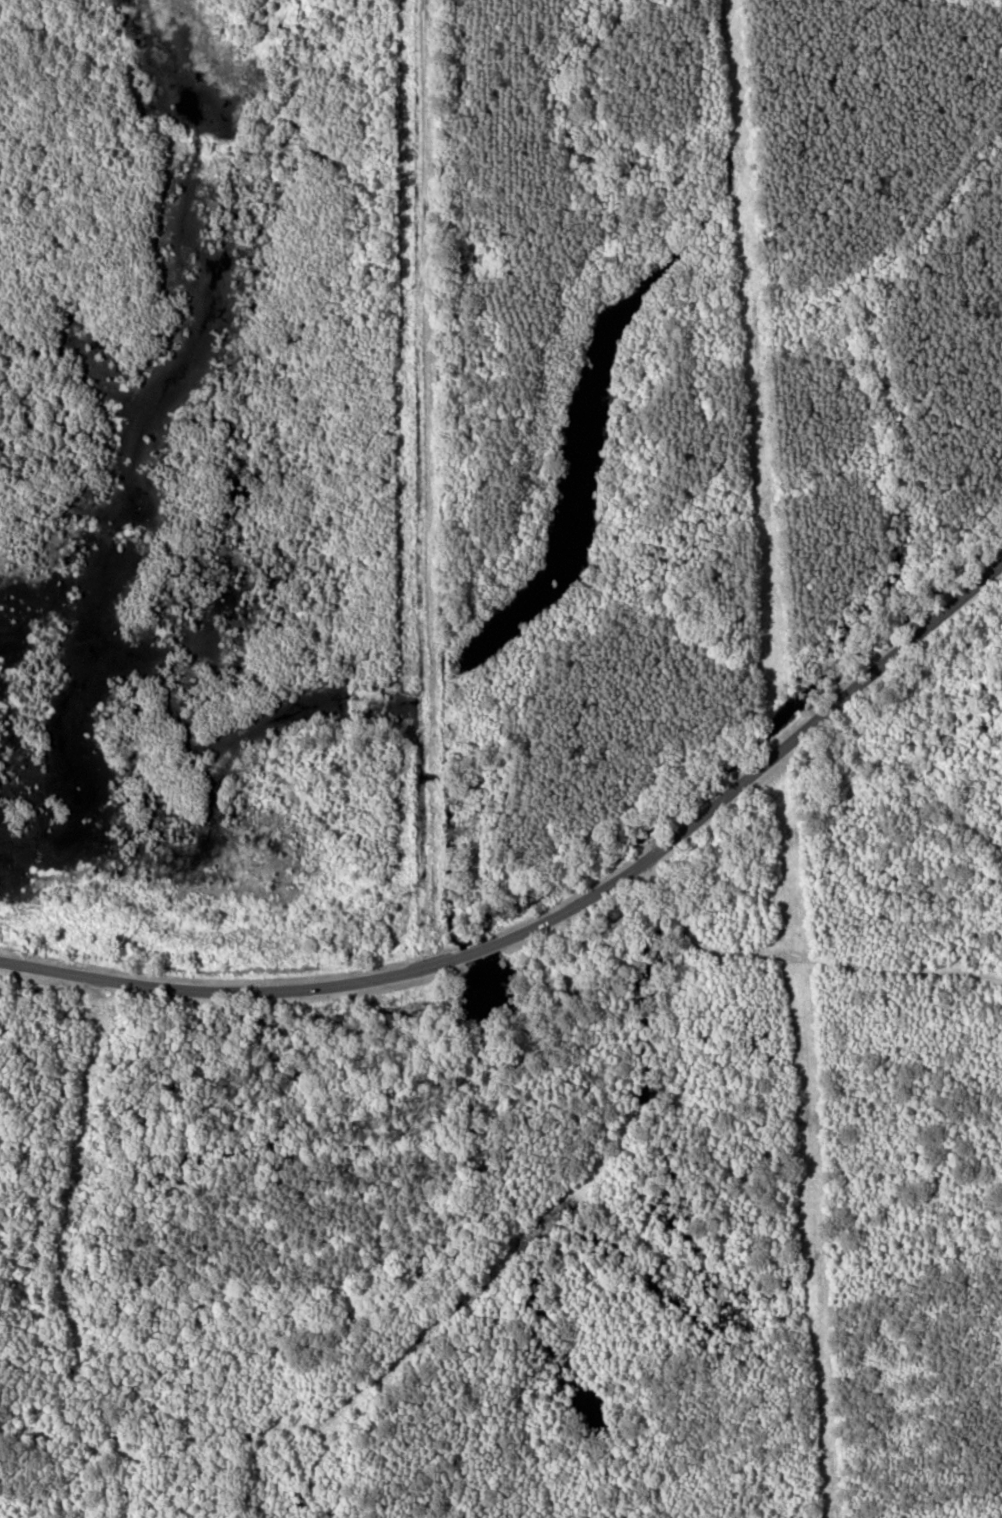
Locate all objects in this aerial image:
road: (417, 482)
road: (555, 914)

